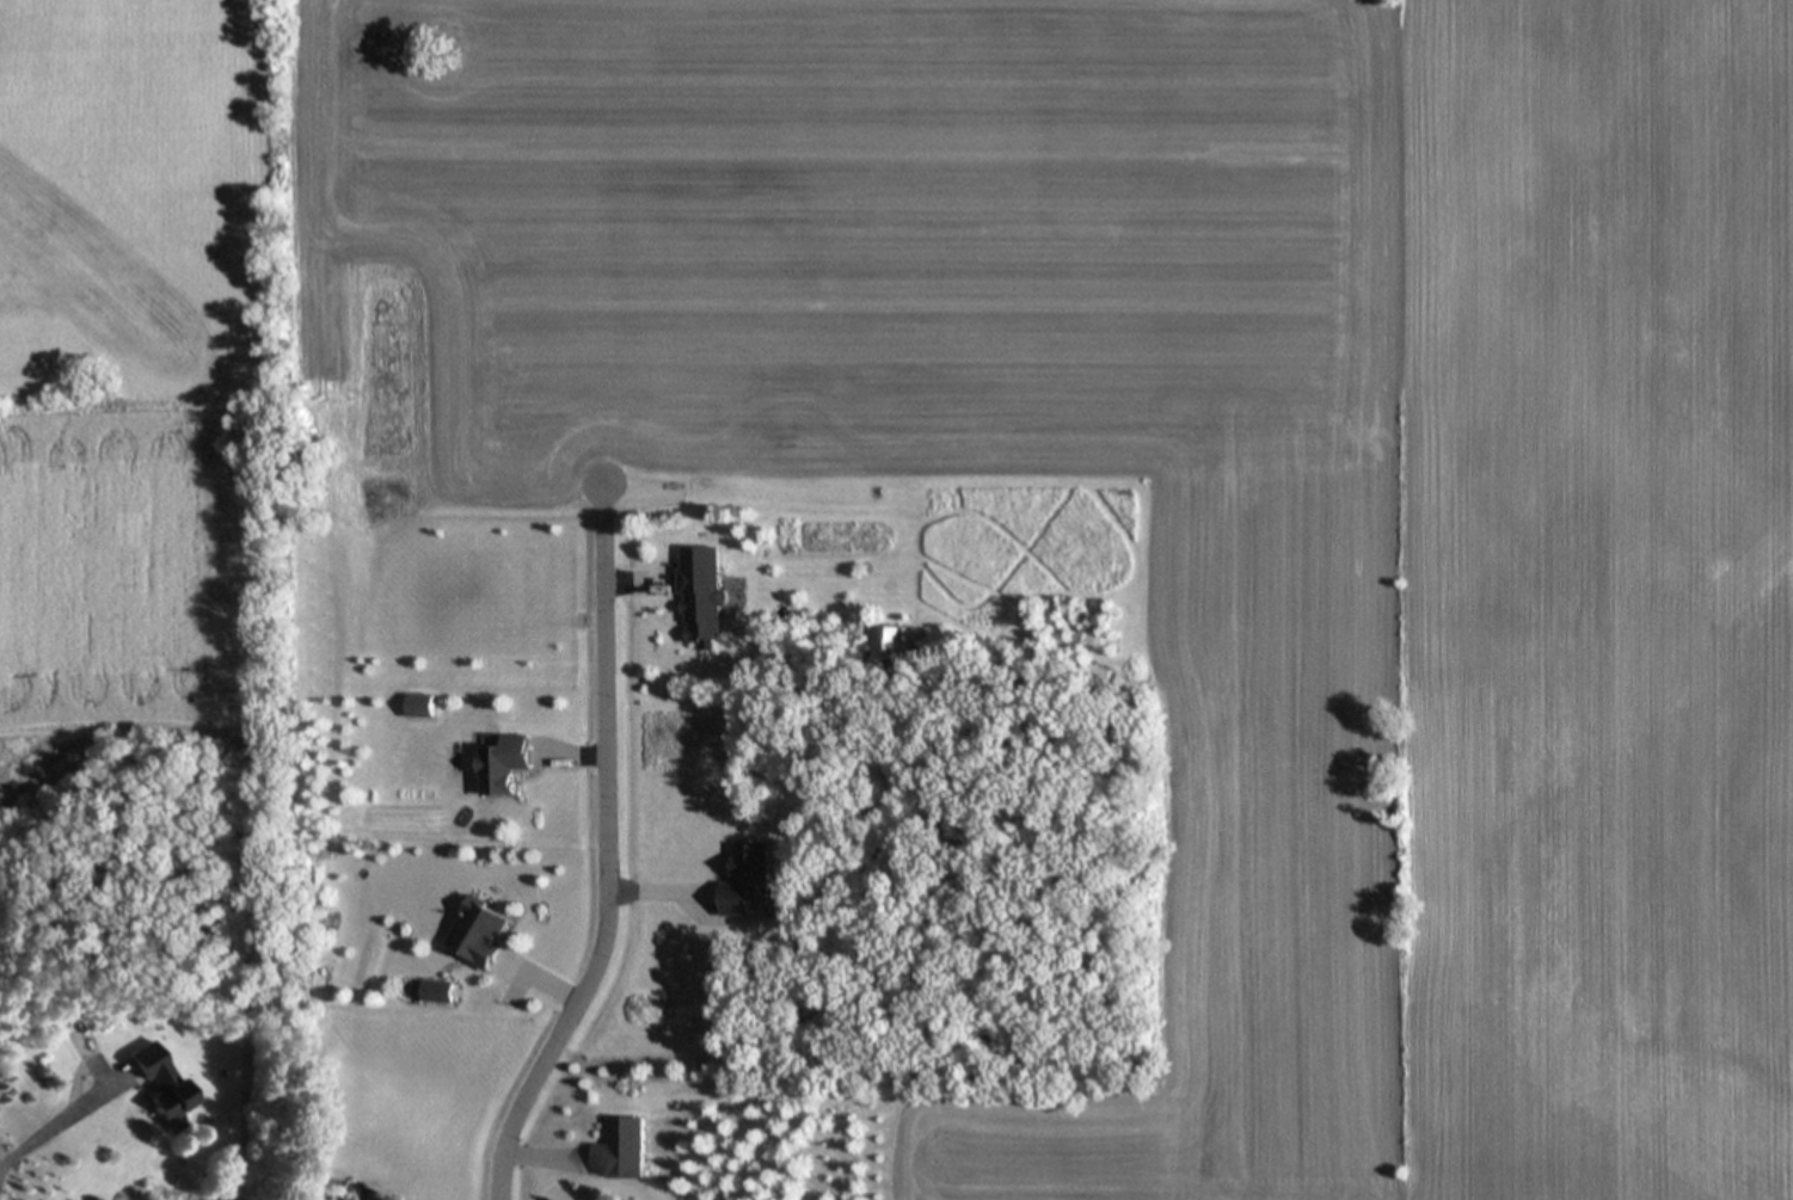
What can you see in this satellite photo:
building: (701, 597)
building: (504, 765)
road: (610, 866)
building: (481, 935)
building: (160, 1082)
road: (44, 1130)
building: (622, 1152)

